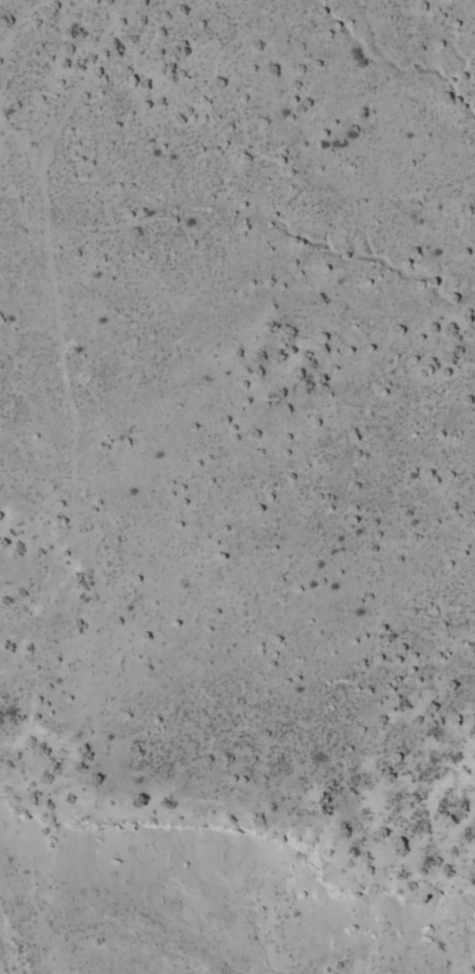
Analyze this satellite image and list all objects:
road: (71, 291)

